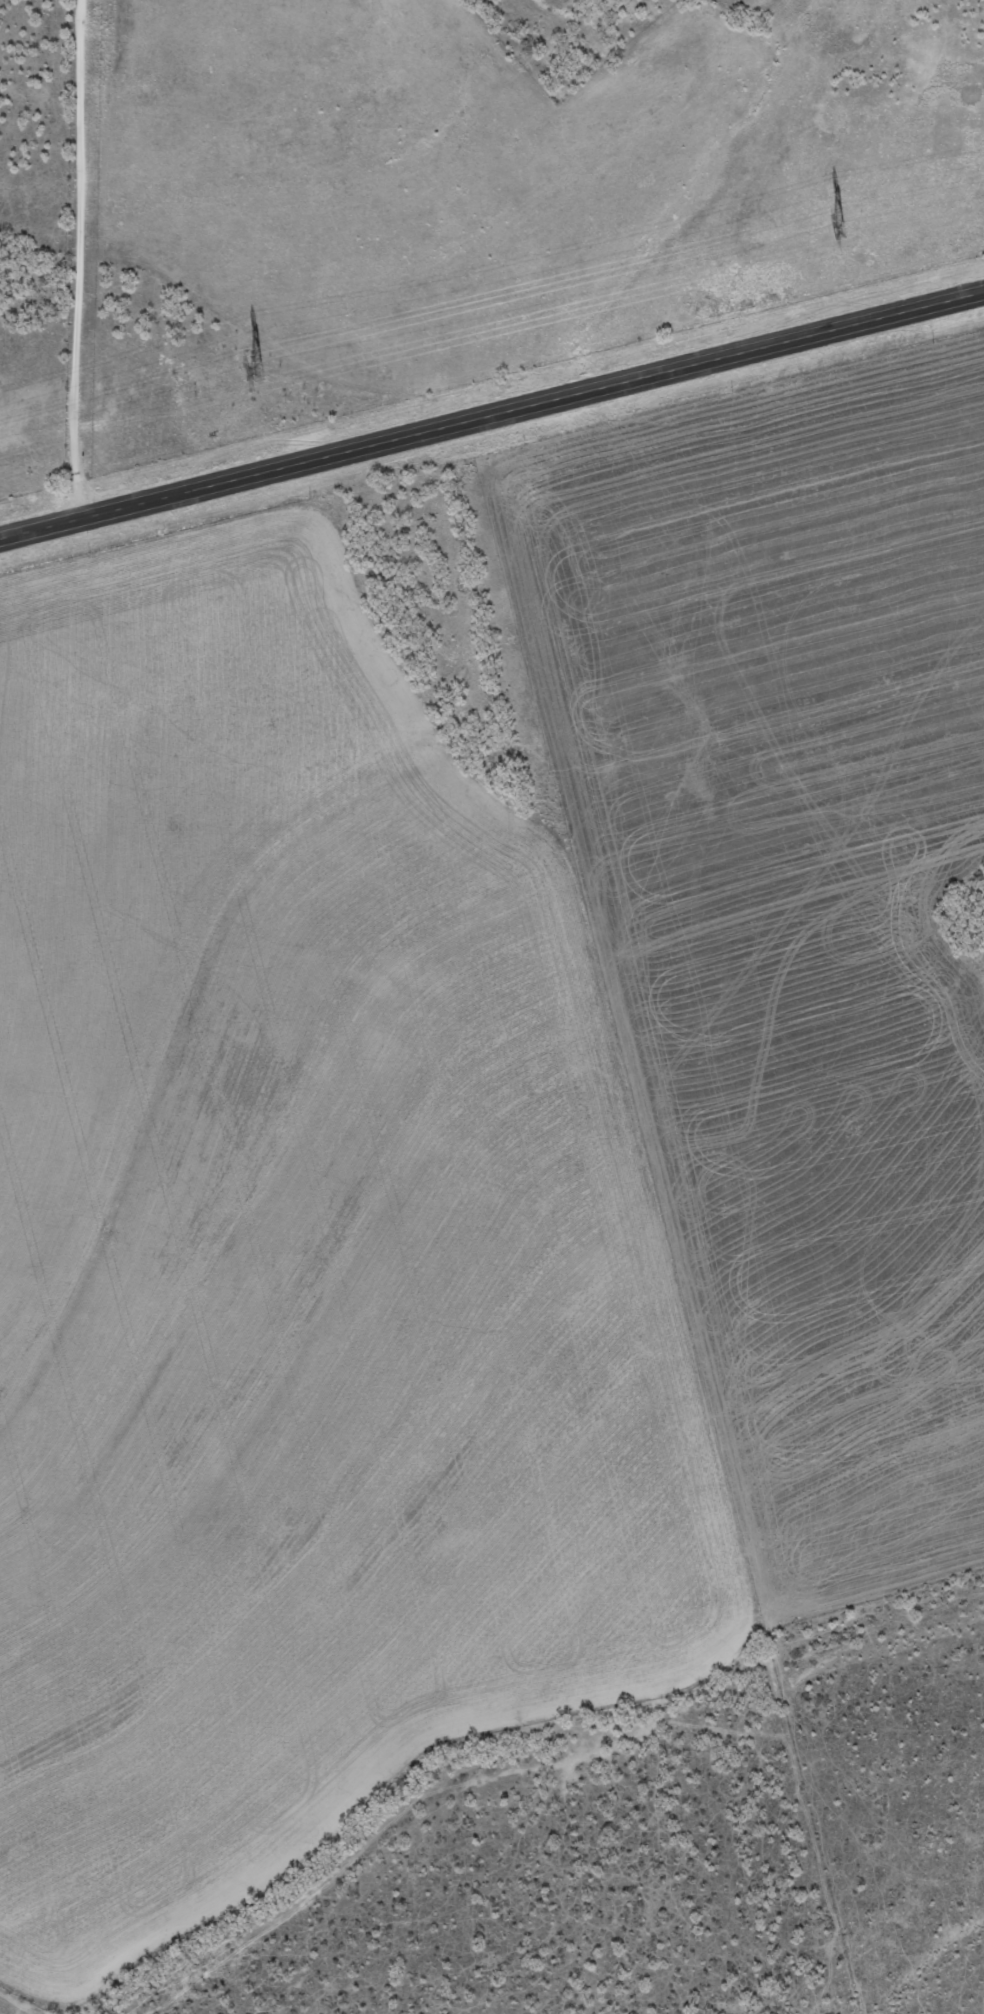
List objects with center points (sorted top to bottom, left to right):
power tower: (836, 228)
road: (80, 236)
power tower: (255, 371)
road: (491, 419)
road: (81, 496)

